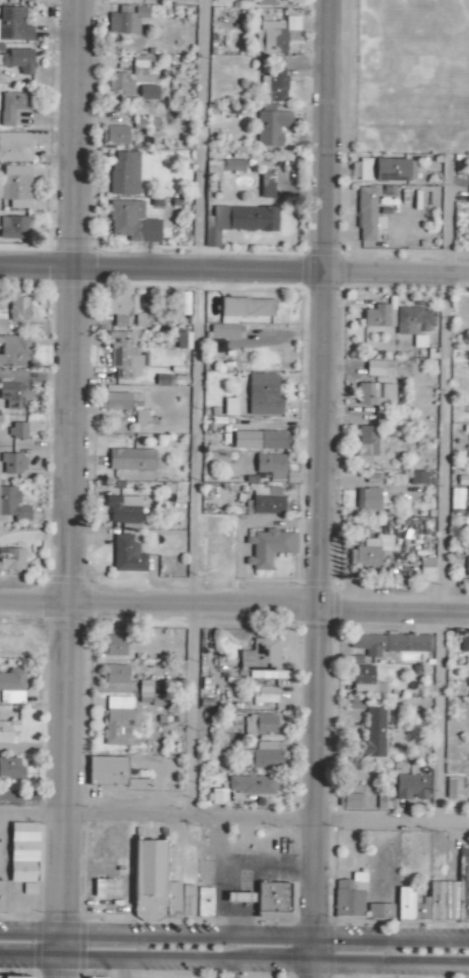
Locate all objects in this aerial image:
building: (26, 0)
building: (264, 3)
building: (126, 19)
building: (292, 23)
building: (14, 25)
building: (270, 38)
building: (18, 60)
building: (141, 64)
building: (120, 84)
building: (274, 84)
building: (148, 93)
building: (13, 106)
building: (146, 123)
building: (271, 126)
building: (114, 135)
road: (199, 138)
building: (15, 147)
building: (233, 165)
building: (213, 168)
building: (383, 170)
building: (124, 173)
building: (266, 185)
building: (15, 186)
building: (368, 215)
building: (239, 221)
building: (132, 222)
building: (12, 228)
road: (234, 278)
building: (181, 304)
building: (18, 308)
building: (124, 309)
building: (239, 315)
building: (378, 317)
building: (2, 321)
building: (414, 324)
building: (14, 351)
building: (125, 357)
building: (378, 369)
building: (14, 390)
building: (375, 394)
building: (263, 395)
building: (126, 406)
building: (229, 407)
building: (17, 430)
building: (270, 440)
building: (366, 444)
road: (441, 447)
building: (131, 460)
building: (13, 464)
building: (271, 466)
road: (318, 488)
road: (60, 489)
building: (463, 494)
building: (368, 499)
building: (265, 501)
building: (12, 504)
building: (123, 509)
building: (268, 548)
building: (370, 551)
building: (127, 555)
building: (11, 559)
building: (467, 564)
building: (426, 570)
road: (234, 611)
building: (390, 643)
building: (464, 643)
building: (114, 646)
building: (263, 661)
building: (116, 674)
building: (365, 681)
building: (12, 687)
building: (151, 695)
building: (263, 695)
building: (356, 704)
road: (189, 715)
road: (438, 719)
building: (118, 721)
building: (259, 724)
building: (8, 732)
building: (373, 732)
building: (263, 755)
building: (10, 769)
building: (107, 771)
building: (137, 784)
building: (251, 785)
building: (411, 787)
building: (455, 790)
building: (218, 797)
building: (351, 801)
building: (384, 801)
road: (234, 820)
road: (238, 839)
building: (23, 856)
road: (267, 868)
road: (219, 880)
building: (159, 882)
building: (106, 888)
building: (349, 896)
building: (1, 897)
building: (439, 897)
building: (240, 898)
building: (273, 900)
building: (205, 902)
building: (381, 911)
road: (234, 936)
road: (234, 960)
road: (121, 969)
building: (16, 976)
building: (95, 977)

